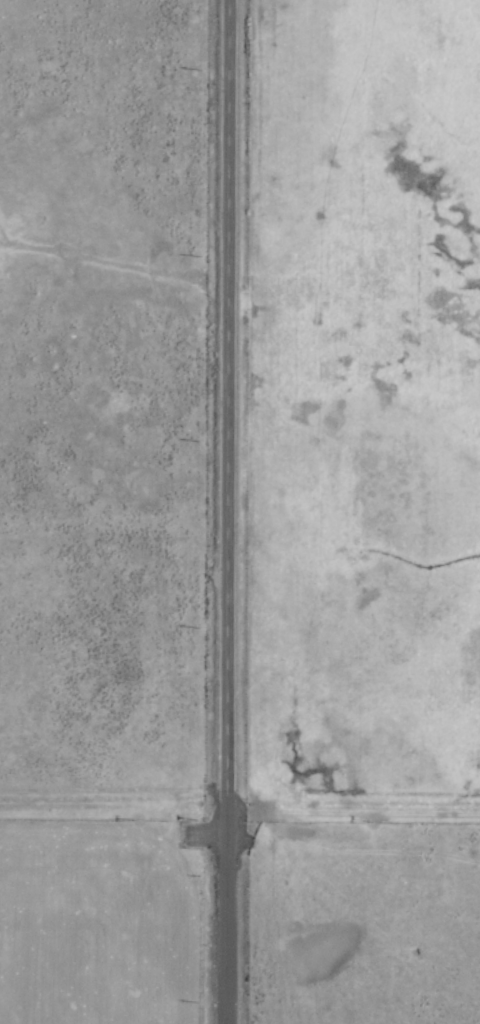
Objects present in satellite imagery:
road: (226, 407)
crop: (240, 512)
road: (351, 815)
road: (222, 919)

